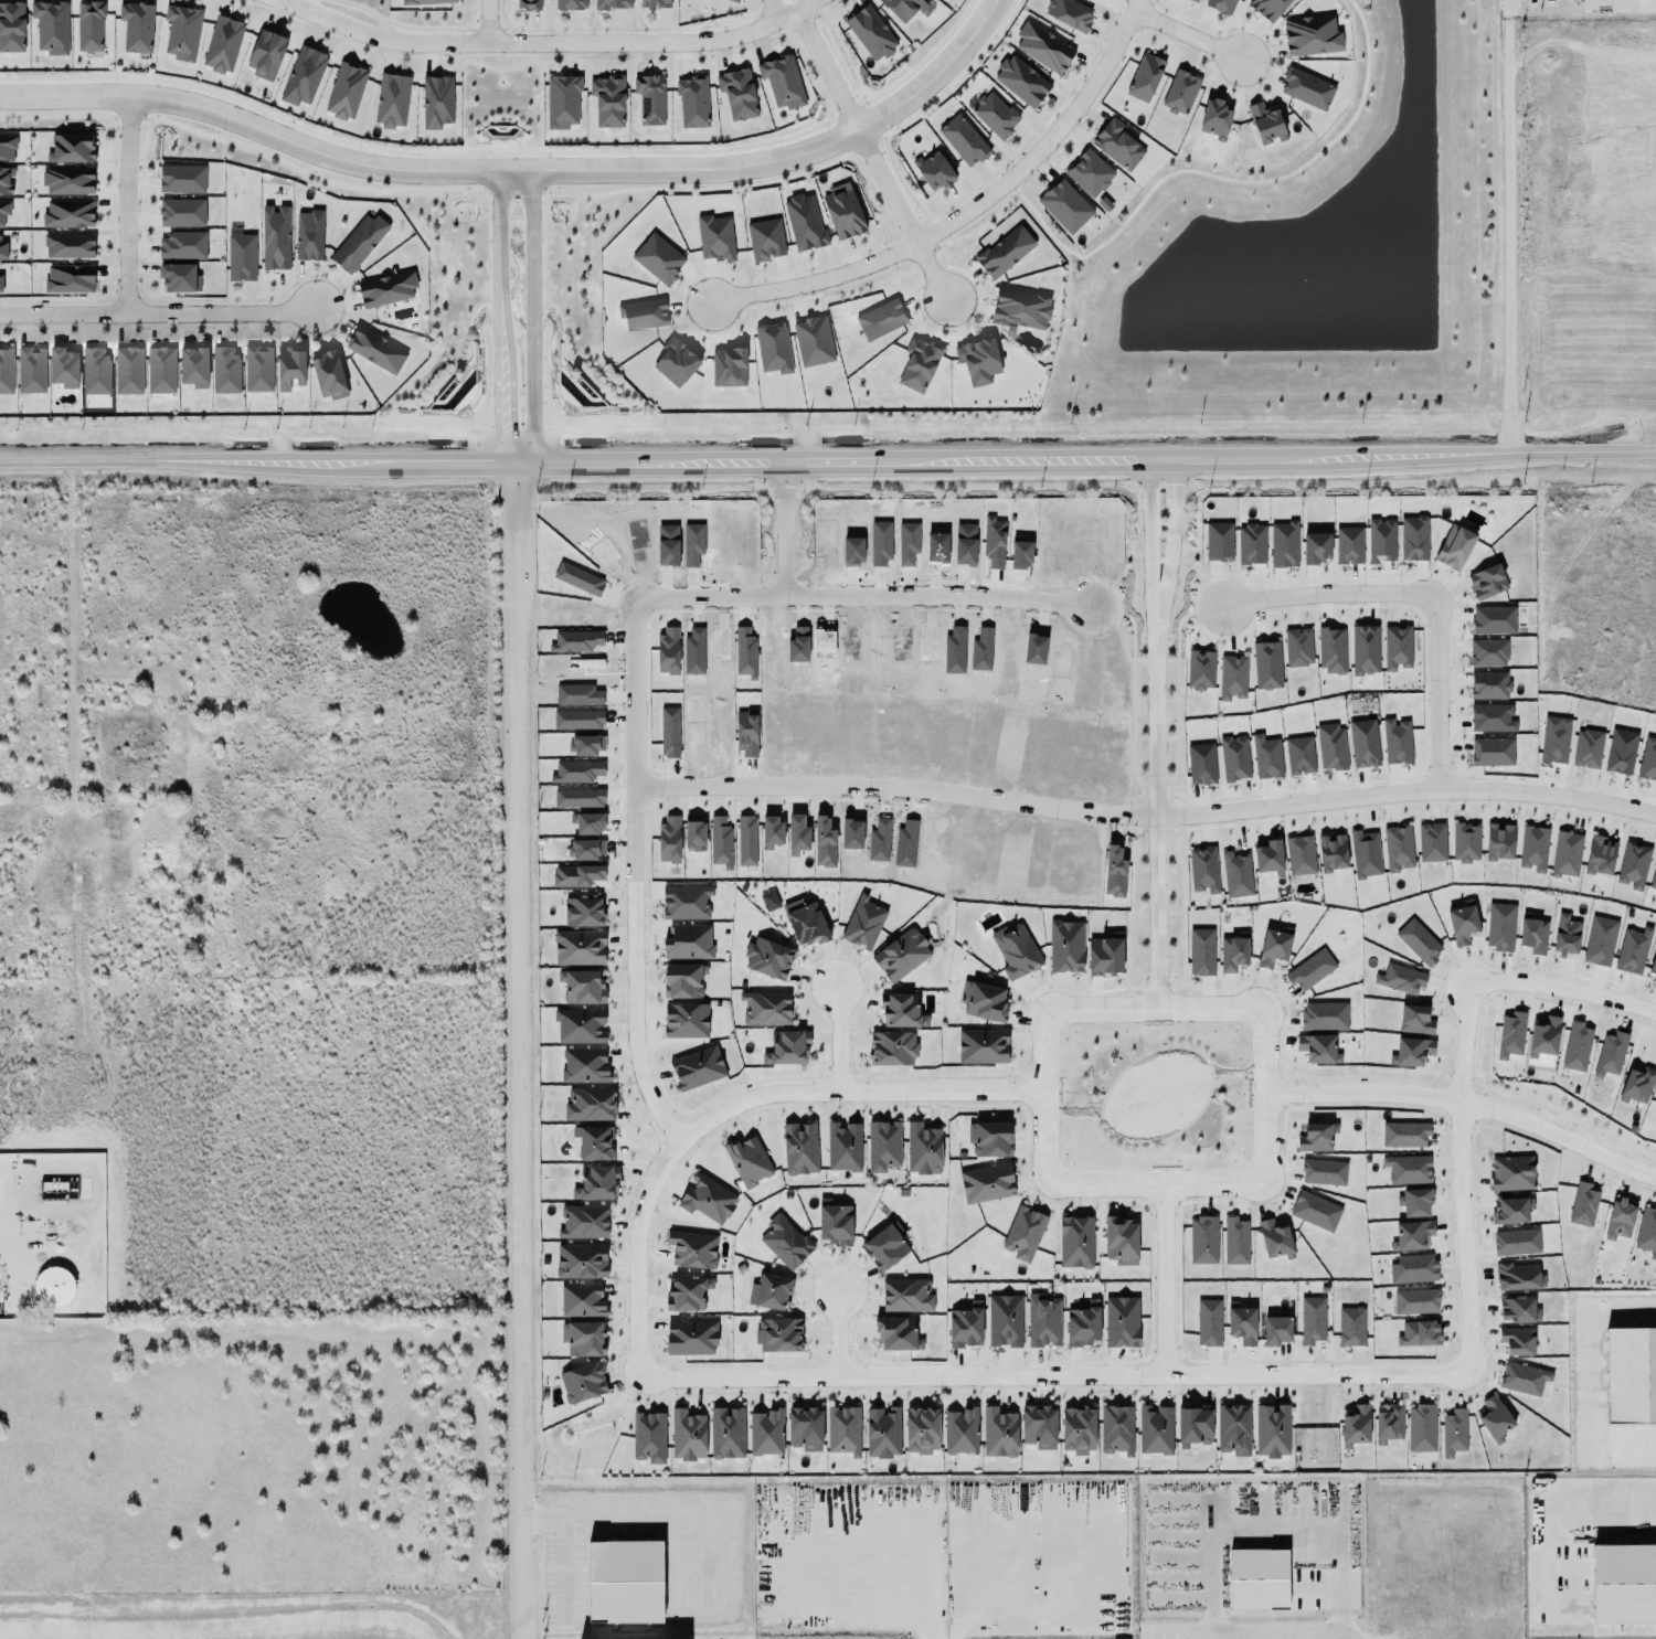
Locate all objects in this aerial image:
building: (1191, 0)
building: (424, 1)
building: (730, 1)
building: (608, 3)
building: (650, 3)
building: (526, 4)
building: (566, 4)
building: (1221, 6)
building: (903, 8)
building: (1264, 8)
building: (1066, 13)
road: (488, 21)
building: (86, 25)
building: (10, 26)
building: (50, 26)
building: (136, 26)
building: (179, 31)
building: (869, 32)
building: (1308, 34)
road: (1186, 35)
road: (548, 42)
building: (220, 43)
building: (1043, 47)
building: (265, 52)
building: (300, 75)
building: (1143, 76)
building: (1020, 79)
building: (782, 82)
building: (1304, 88)
building: (346, 92)
building: (1178, 92)
building: (737, 94)
building: (647, 99)
building: (392, 100)
building: (434, 100)
building: (559, 100)
building: (608, 100)
building: (692, 103)
building: (992, 115)
building: (1213, 118)
building: (1266, 124)
building: (962, 138)
building: (1115, 145)
building: (6, 146)
building: (68, 148)
road: (870, 155)
road: (522, 169)
building: (934, 171)
building: (1089, 173)
building: (181, 179)
building: (65, 180)
building: (6, 181)
road: (126, 203)
building: (3, 206)
building: (1064, 206)
road: (968, 211)
building: (180, 212)
building: (842, 212)
building: (65, 213)
building: (803, 220)
road: (1507, 225)
building: (306, 235)
building: (273, 237)
building: (765, 238)
building: (355, 243)
building: (66, 244)
building: (180, 245)
building: (1, 251)
building: (1001, 252)
building: (238, 257)
building: (66, 277)
building: (176, 277)
building: (0, 284)
building: (384, 288)
building: (1018, 308)
road: (159, 313)
road: (499, 313)
building: (643, 313)
road: (532, 315)
building: (877, 319)
building: (373, 349)
building: (978, 360)
building: (676, 362)
building: (915, 363)
building: (289, 365)
building: (191, 366)
building: (61, 368)
building: (222, 369)
building: (257, 369)
building: (4, 370)
building: (28, 370)
building: (126, 370)
building: (158, 370)
building: (328, 371)
building: (95, 372)
road: (827, 454)
road: (776, 526)
road: (1150, 530)
road: (1171, 531)
building: (1413, 538)
building: (1381, 540)
building: (1219, 542)
building: (1251, 544)
building: (1284, 544)
building: (1348, 545)
building: (1315, 547)
building: (1454, 547)
building: (1020, 555)
building: (578, 578)
building: (1487, 582)
road: (1326, 587)
road: (710, 597)
building: (1493, 620)
building: (574, 639)
road: (70, 643)
building: (1296, 646)
building: (1397, 647)
building: (1365, 650)
building: (668, 651)
building: (1331, 651)
building: (1488, 652)
building: (1266, 666)
building: (1200, 670)
building: (1232, 678)
road: (1435, 684)
building: (1488, 685)
building: (1493, 719)
building: (577, 720)
building: (669, 732)
building: (746, 733)
building: (1554, 741)
building: (1395, 742)
building: (1363, 743)
building: (586, 745)
building: (1330, 746)
building: (1586, 748)
building: (1492, 752)
building: (1621, 752)
building: (1299, 755)
building: (1264, 756)
building: (1233, 758)
building: (1647, 759)
building: (1200, 764)
building: (576, 771)
road: (1404, 786)
road: (891, 788)
building: (578, 798)
road: (1154, 807)
building: (587, 822)
building: (771, 831)
building: (693, 833)
building: (797, 834)
building: (744, 838)
building: (669, 840)
building: (718, 841)
building: (1499, 841)
building: (824, 842)
building: (1432, 842)
building: (1465, 842)
building: (1398, 848)
building: (1533, 848)
building: (585, 849)
building: (1331, 852)
building: (1365, 854)
building: (1565, 854)
building: (1299, 855)
building: (1600, 855)
building: (1267, 858)
building: (1633, 865)
building: (1203, 870)
building: (1114, 872)
building: (1236, 874)
building: (576, 875)
building: (1653, 879)
building: (683, 900)
building: (768, 901)
building: (582, 912)
building: (805, 923)
building: (863, 923)
building: (1462, 924)
building: (1500, 926)
building: (1533, 935)
building: (1565, 937)
building: (1599, 939)
building: (1419, 941)
building: (688, 943)
building: (1064, 943)
building: (578, 948)
building: (1273, 948)
building: (1633, 950)
building: (1015, 951)
building: (901, 952)
building: (1201, 952)
building: (1233, 952)
building: (1104, 957)
building: (767, 958)
building: (1653, 967)
building: (1310, 969)
building: (1400, 979)
building: (683, 980)
road: (1170, 981)
road: (1137, 982)
building: (582, 987)
road: (1129, 987)
road: (1154, 987)
road: (1177, 987)
road: (1564, 988)
building: (984, 1001)
road: (1170, 1004)
road: (1137, 1005)
building: (765, 1008)
road: (1154, 1009)
building: (902, 1011)
building: (1324, 1015)
building: (1415, 1020)
building: (686, 1021)
road: (631, 1022)
building: (578, 1023)
road: (1151, 1026)
road: (1171, 1032)
building: (1511, 1034)
building: (1543, 1037)
road: (834, 1039)
building: (786, 1043)
road: (518, 1046)
building: (983, 1046)
building: (1577, 1046)
building: (892, 1049)
building: (1318, 1049)
road: (1198, 1052)
building: (1411, 1052)
building: (1610, 1054)
building: (584, 1065)
road: (819, 1066)
road: (853, 1067)
building: (697, 1068)
road: (1020, 1068)
road: (1040, 1075)
road: (1236, 1075)
road: (837, 1076)
road: (938, 1076)
road: (746, 1083)
building: (1638, 1084)
road: (1060, 1086)
road: (1021, 1090)
road: (1265, 1094)
road: (1045, 1095)
park: (1151, 1095)
road: (1242, 1103)
road: (1467, 1103)
building: (590, 1105)
road: (734, 1105)
road: (1039, 1105)
road: (1076, 1105)
road: (1021, 1106)
road: (678, 1110)
building: (1655, 1115)
road: (670, 1130)
building: (1404, 1135)
building: (1316, 1137)
building: (988, 1139)
road: (658, 1141)
building: (593, 1142)
building: (883, 1146)
building: (843, 1147)
building: (922, 1147)
building: (799, 1149)
road: (1146, 1158)
building: (749, 1161)
road: (1166, 1163)
building: (1408, 1169)
building: (1510, 1171)
building: (1324, 1172)
road: (1459, 1177)
road: (637, 1180)
building: (597, 1183)
building: (987, 1183)
road: (1155, 1183)
road: (1146, 1184)
road: (1180, 1184)
building: (707, 1199)
building: (1414, 1199)
road: (1071, 1201)
road: (1161, 1203)
road: (1178, 1203)
building: (1583, 1204)
building: (1510, 1210)
building: (1315, 1211)
building: (1620, 1220)
building: (834, 1221)
building: (584, 1222)
building: (1646, 1232)
building: (1023, 1234)
building: (1411, 1235)
building: (1074, 1238)
road: (1148, 1238)
building: (784, 1239)
building: (1274, 1239)
building: (1121, 1241)
building: (1202, 1241)
building: (1235, 1241)
building: (1516, 1242)
building: (883, 1245)
building: (692, 1246)
building: (582, 1260)
building: (1413, 1268)
building: (1518, 1277)
road: (1164, 1279)
building: (768, 1288)
building: (686, 1289)
building: (904, 1294)
building: (1414, 1299)
building: (582, 1300)
building: (1518, 1310)
building: (1002, 1319)
building: (1041, 1319)
building: (1312, 1320)
building: (1122, 1322)
building: (1209, 1322)
building: (1241, 1323)
building: (963, 1324)
building: (1083, 1326)
building: (1351, 1327)
building: (1276, 1329)
building: (690, 1333)
building: (1419, 1333)
road: (838, 1334)
building: (898, 1334)
building: (778, 1335)
building: (583, 1339)
building: (1517, 1340)
road: (1054, 1376)
building: (1524, 1379)
building: (583, 1383)
building: (1494, 1419)
building: (1387, 1422)
building: (804, 1425)
building: (1193, 1425)
building: (1039, 1426)
building: (1115, 1426)
building: (1356, 1426)
building: (1078, 1427)
building: (1421, 1428)
building: (1233, 1429)
building: (843, 1430)
building: (922, 1430)
building: (1155, 1430)
building: (1272, 1430)
building: (686, 1432)
building: (960, 1432)
building: (726, 1433)
building: (765, 1433)
building: (882, 1433)
building: (998, 1433)
building: (1454, 1433)
building: (648, 1437)
road: (1264, 1510)
road: (1622, 1520)
road: (560, 1548)
road: (880, 1562)
building: (1257, 1579)
building: (625, 1582)
building: (1623, 1584)
road: (1240, 1632)
building: (633, 1636)

